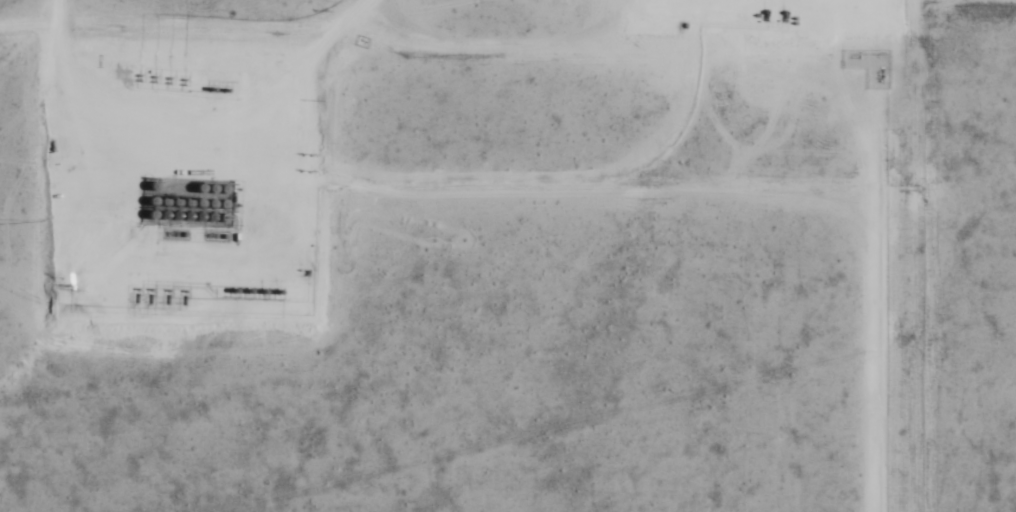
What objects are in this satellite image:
road: (30, 23)
road: (710, 24)
petroleum well: (137, 71)
petroleum well: (152, 72)
petroleum well: (167, 74)
petroleum well: (182, 75)
petroleum well: (137, 76)
petroleum well: (152, 77)
petroleum well: (167, 79)
petroleum well: (182, 80)
road: (680, 122)
road: (875, 212)
road: (194, 248)
petroleum well: (133, 285)
petroleum well: (147, 286)
petroleum well: (165, 287)
petroleum well: (181, 287)

